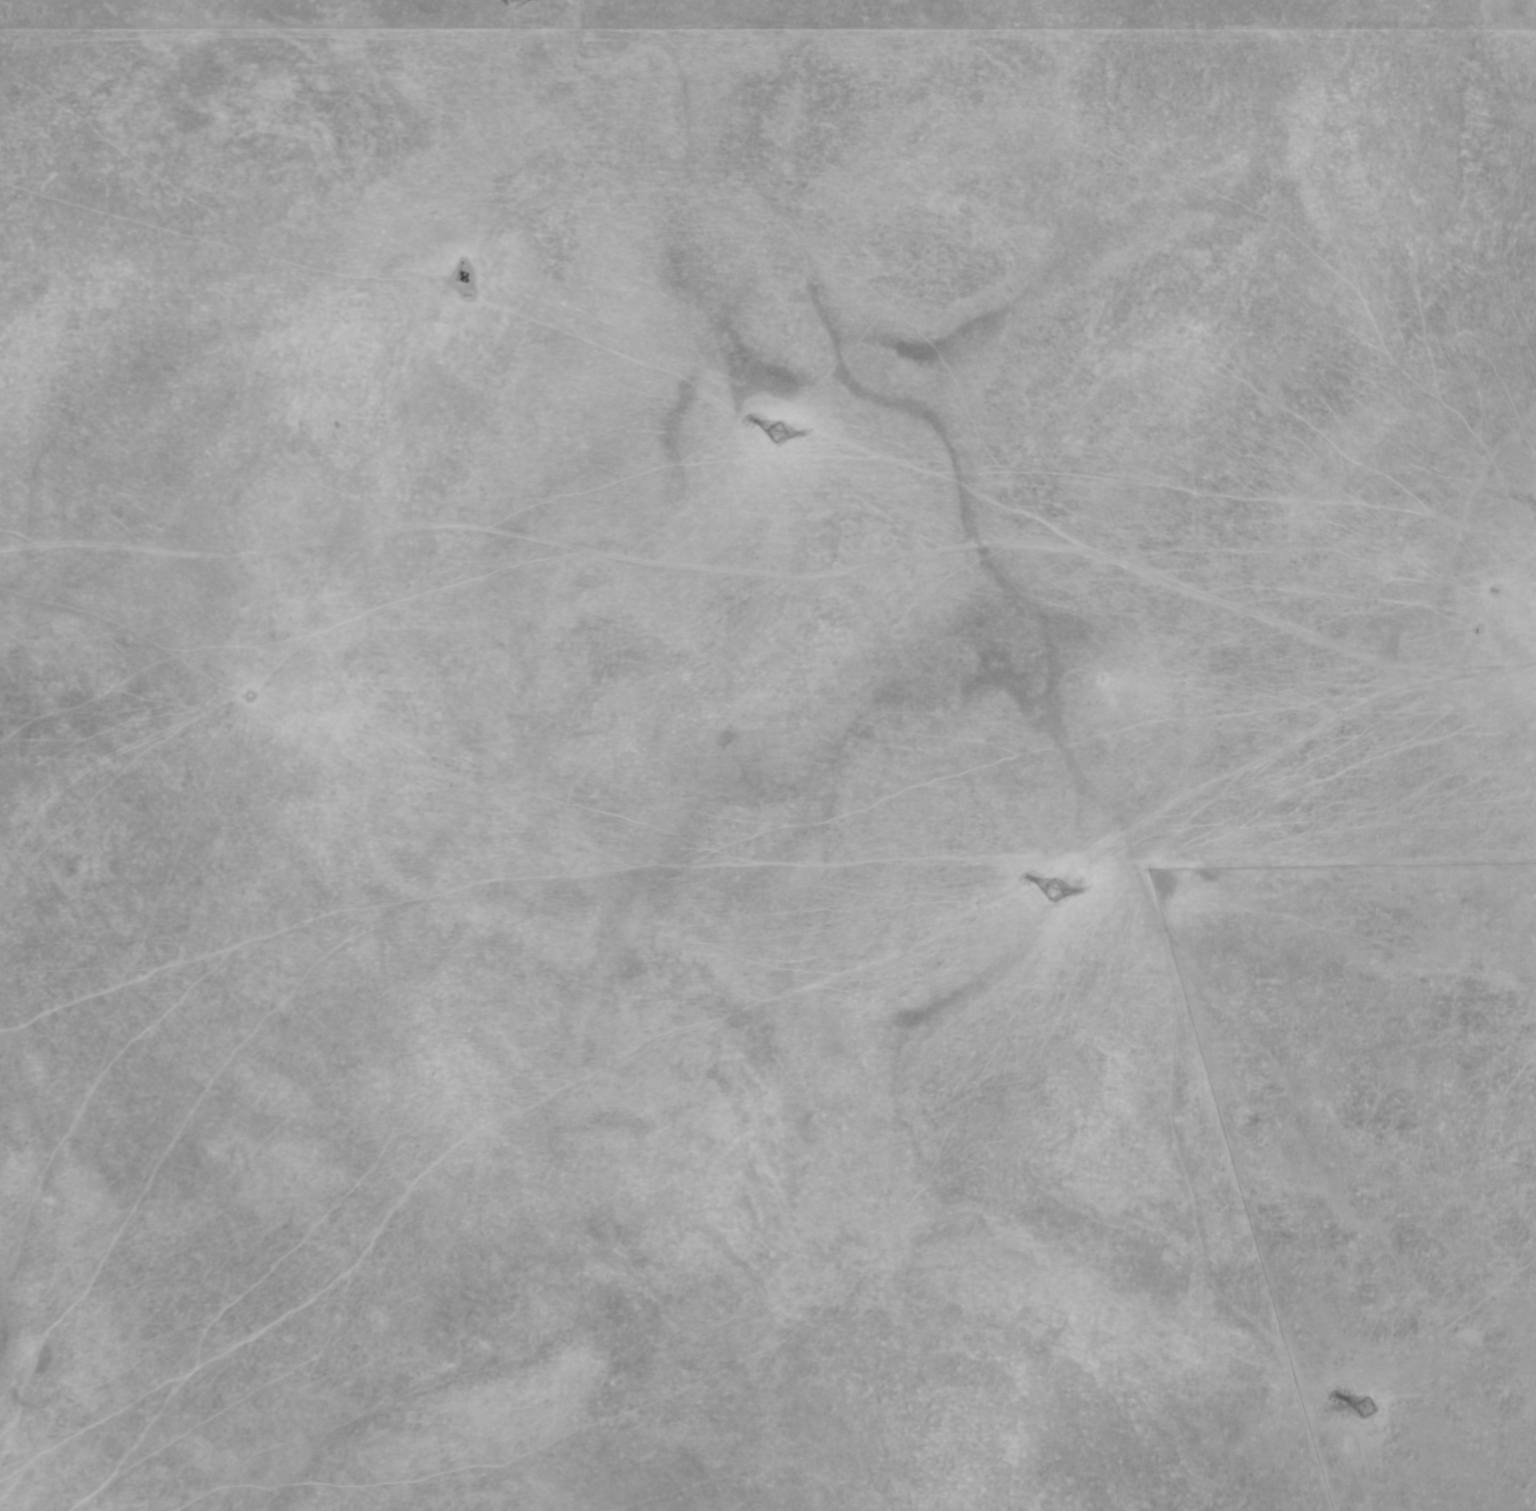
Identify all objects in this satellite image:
power tower: (776, 432)
power tower: (1052, 889)
building: (1052, 891)
power tower: (1366, 1410)

